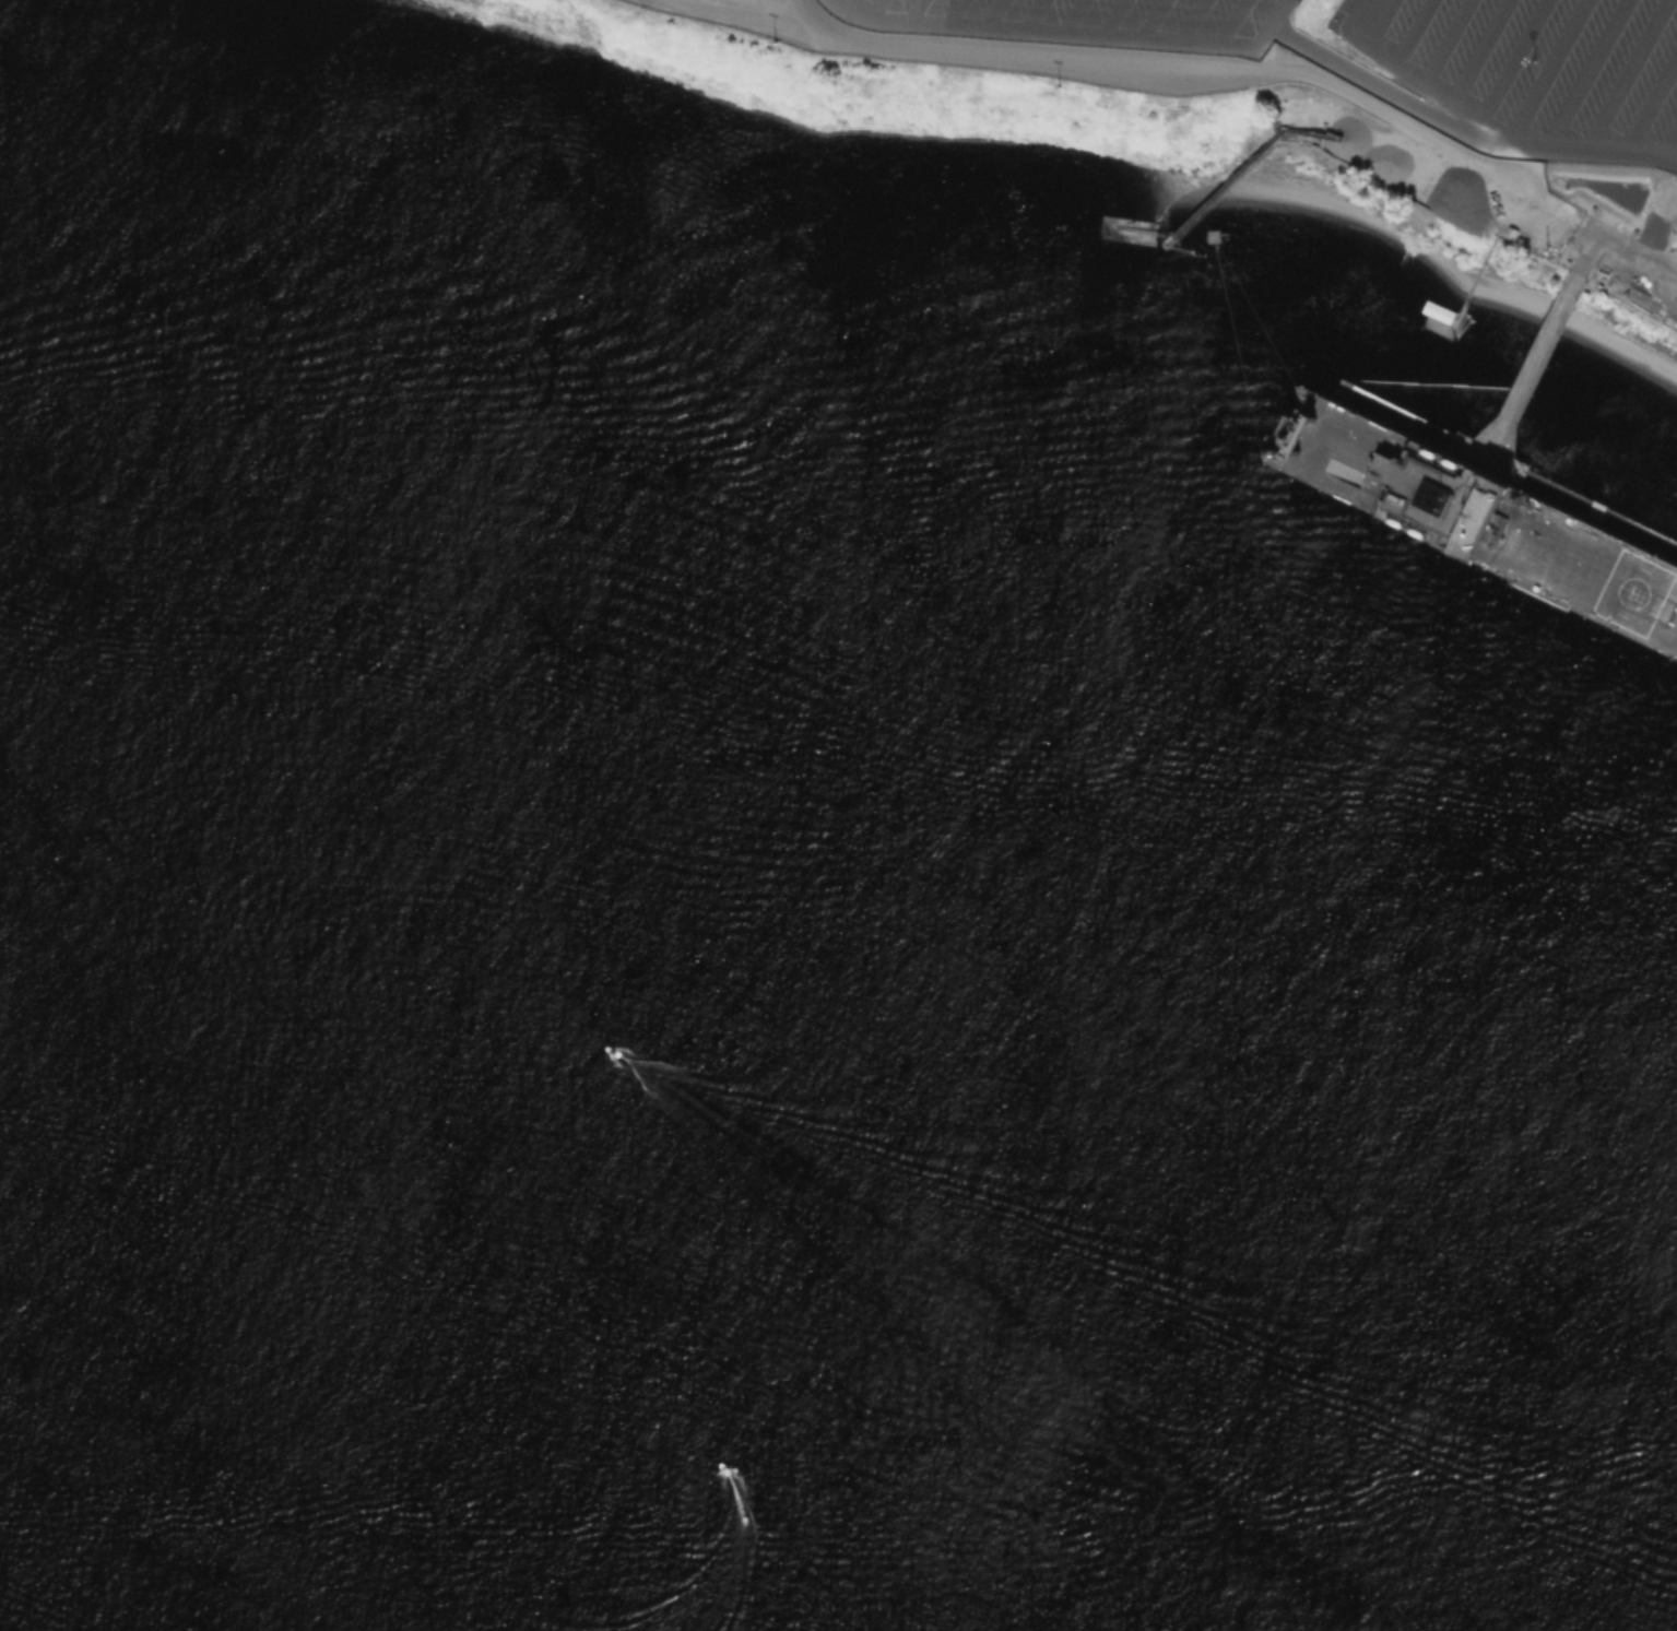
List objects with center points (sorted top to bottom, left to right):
road: (1277, 12)
road: (1059, 31)
road: (1204, 68)
road: (1379, 86)
road: (1488, 127)
pier: (1224, 186)
pier: (1145, 243)
road: (1631, 252)
pier: (1476, 277)
building: (1431, 323)
pier: (1536, 366)
pier: (1520, 394)
pier: (1507, 464)
river: (562, 1387)

